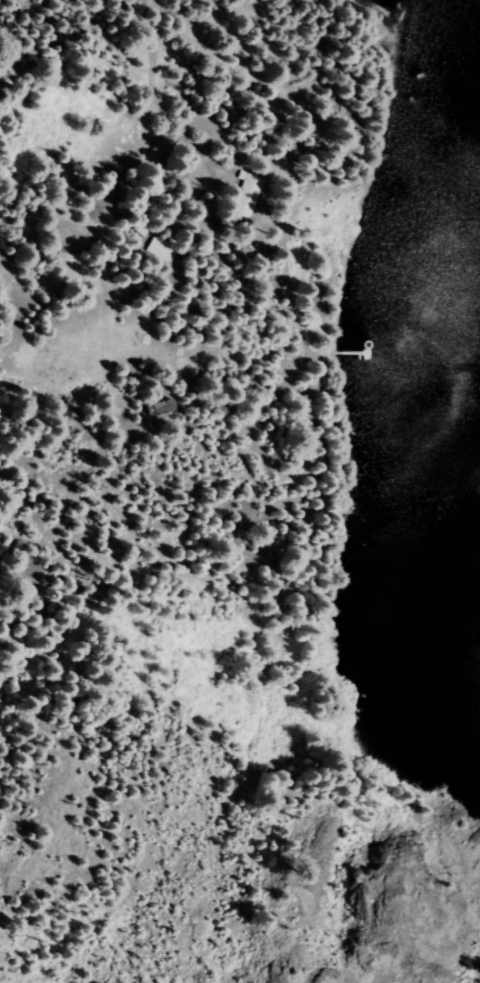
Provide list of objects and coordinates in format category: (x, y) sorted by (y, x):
road: (112, 41)
road: (177, 129)
building: (161, 144)
road: (124, 159)
building: (244, 193)

